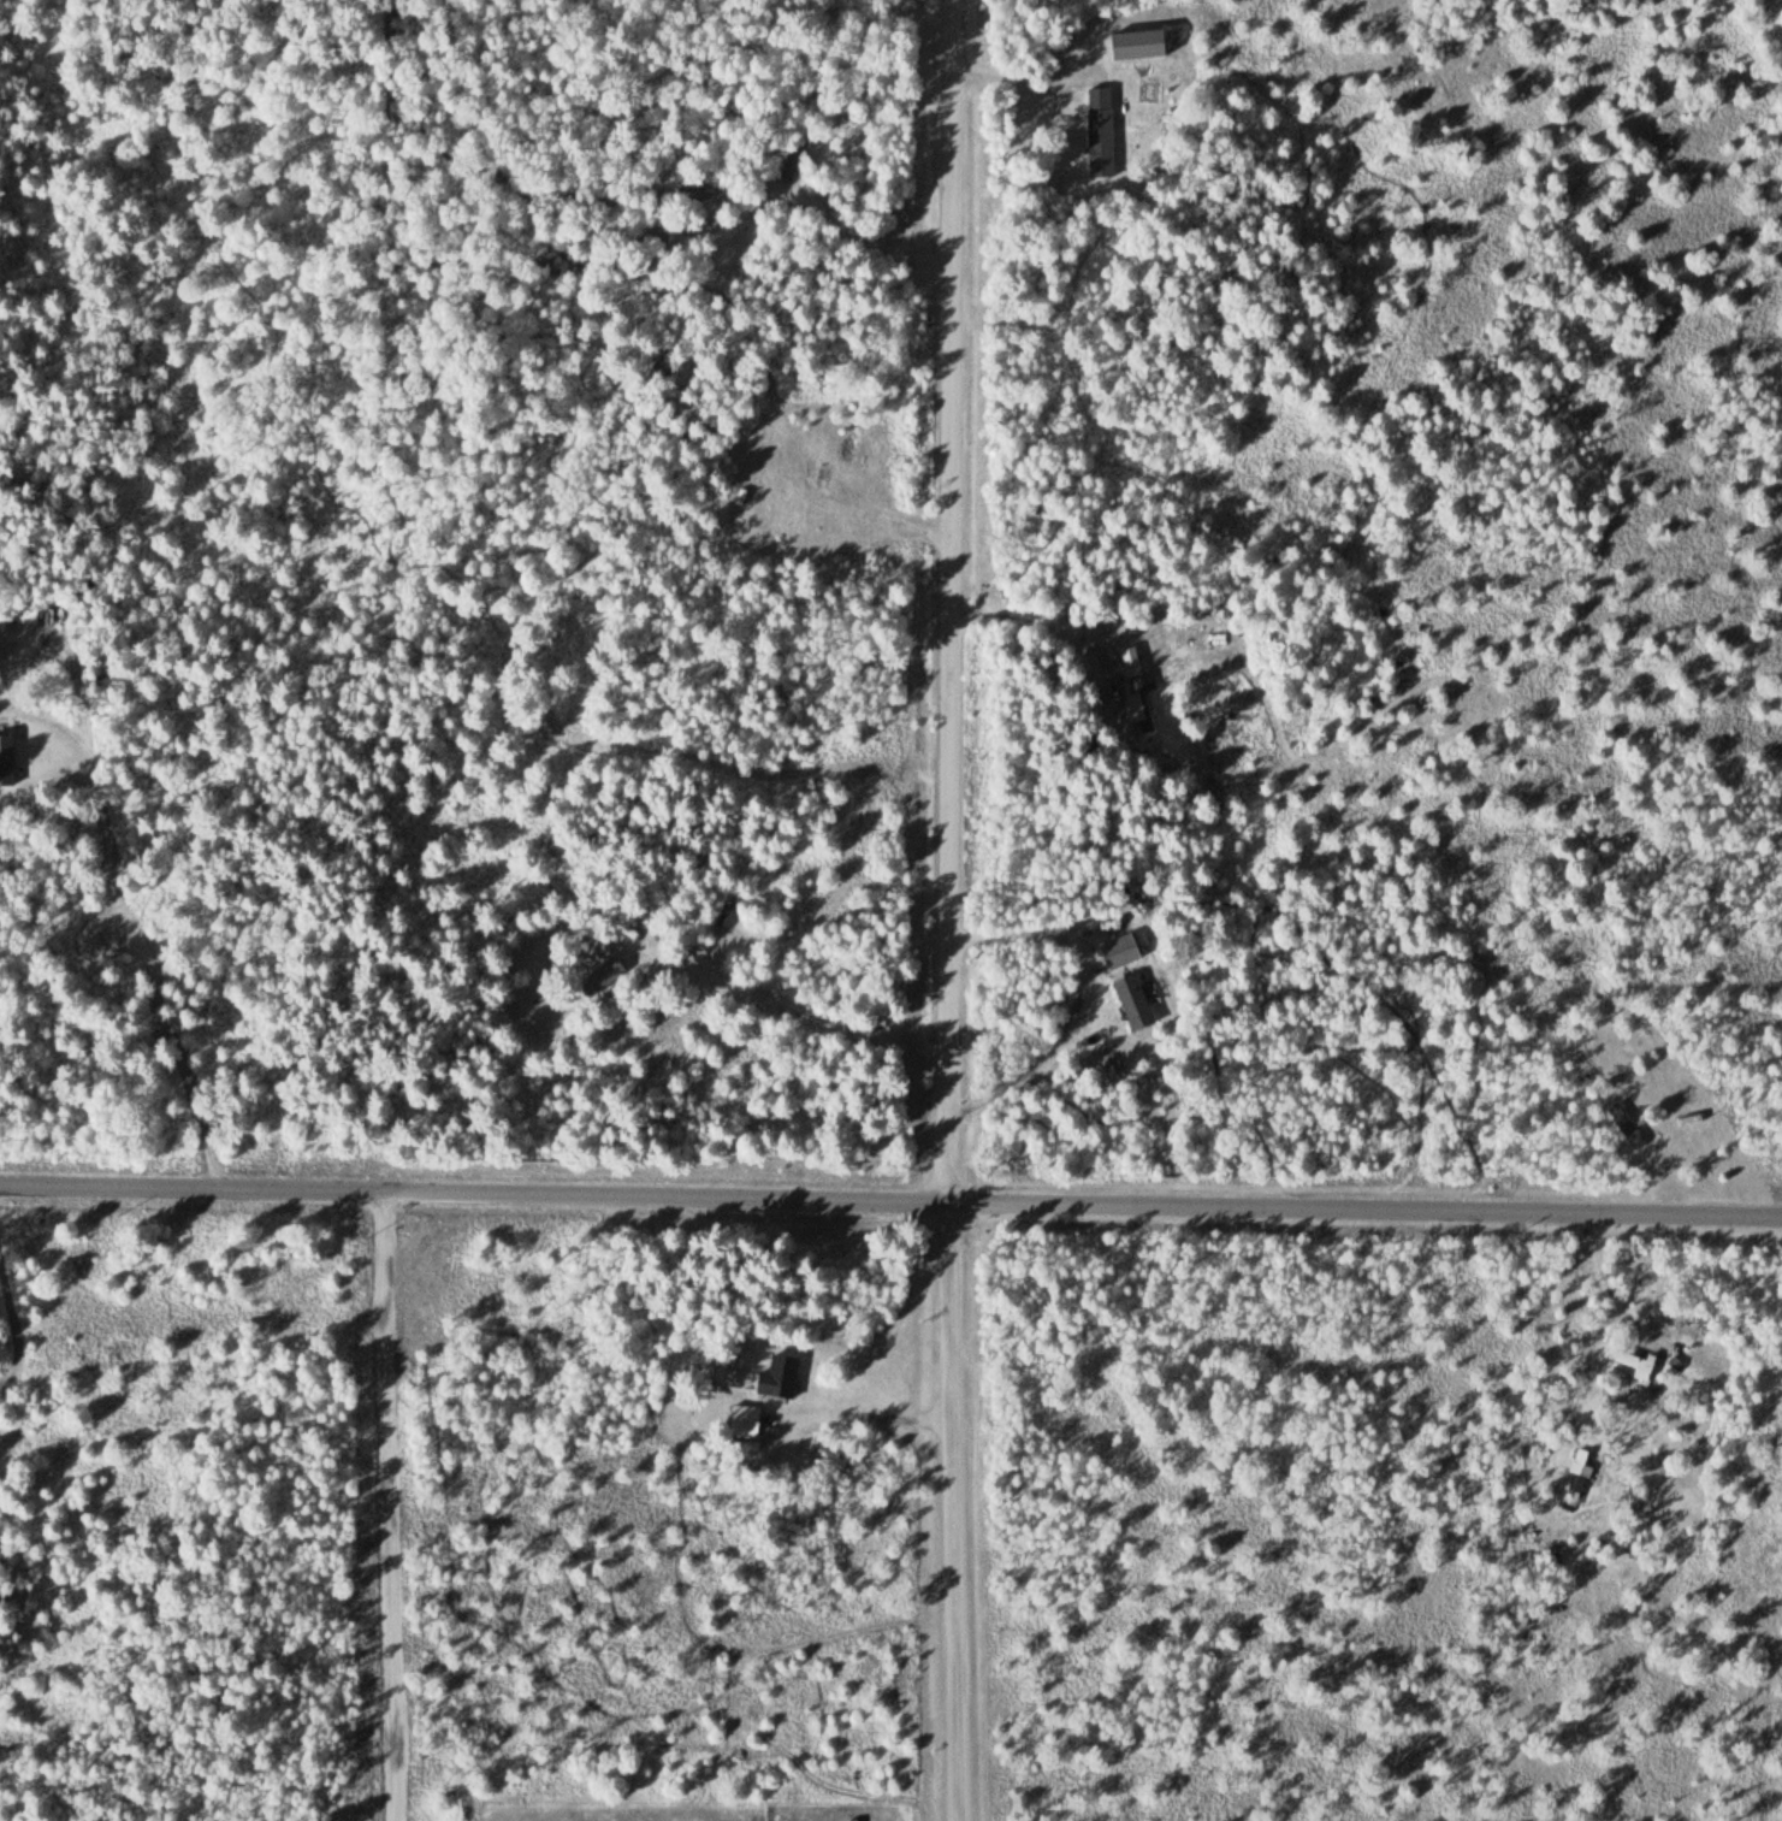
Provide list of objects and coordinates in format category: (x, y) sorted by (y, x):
building: (1133, 45)
building: (1097, 131)
road: (953, 603)
building: (1141, 703)
building: (1118, 951)
building: (1131, 1003)
building: (1624, 1127)
road: (890, 1204)
building: (1630, 1362)
building: (776, 1377)
building: (748, 1421)
building: (1582, 1462)
road: (393, 1506)
road: (954, 1513)

